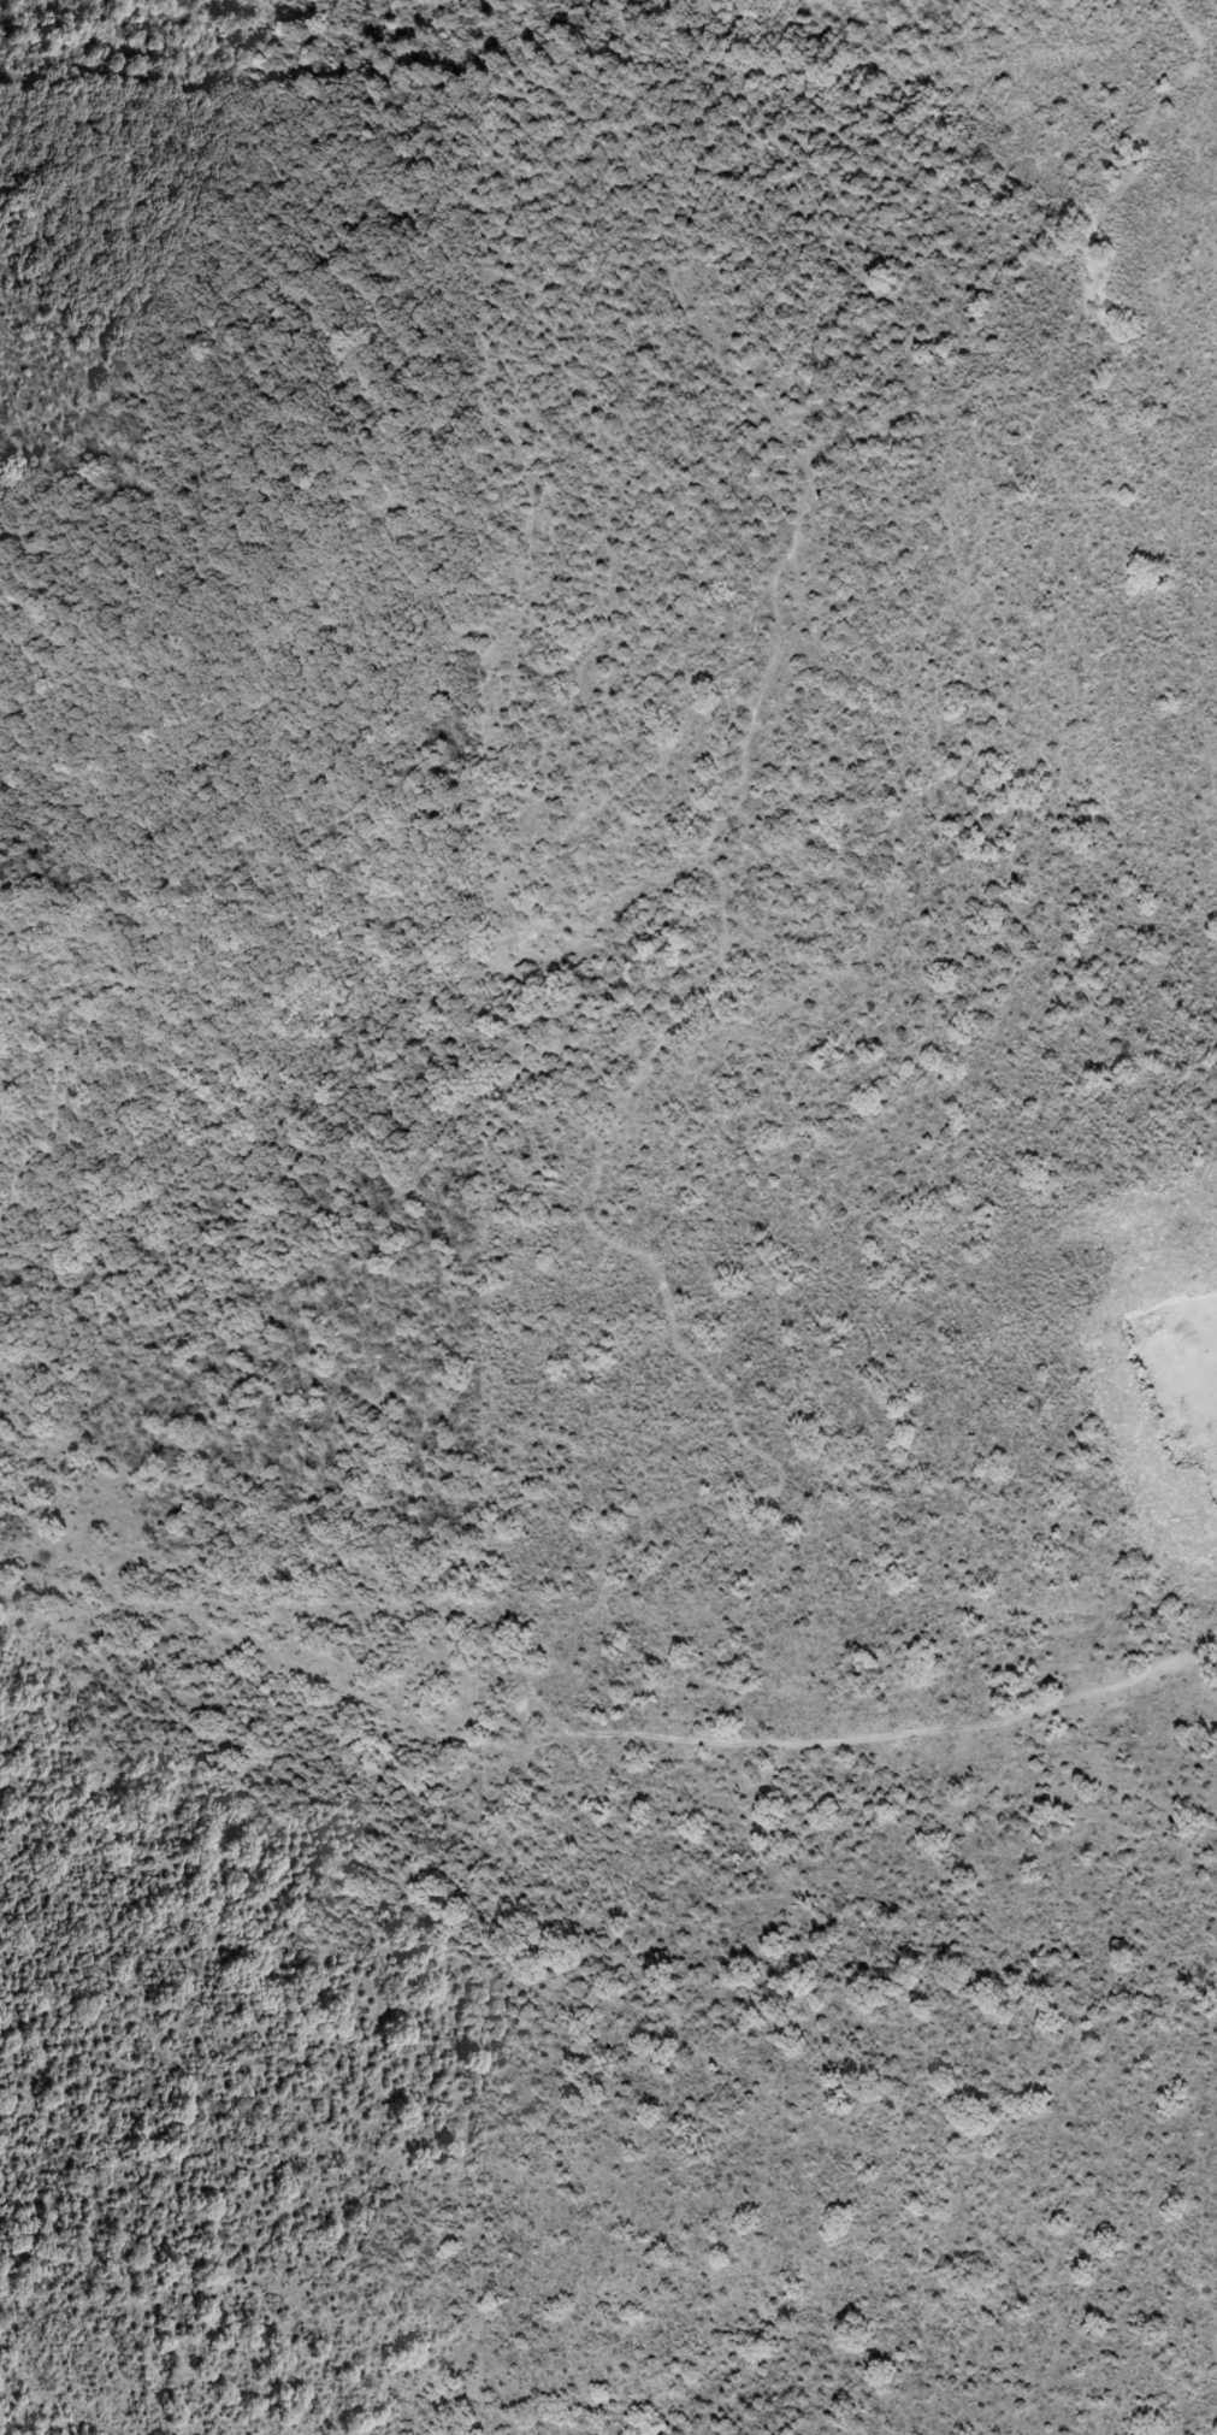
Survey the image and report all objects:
road: (602, 1749)

